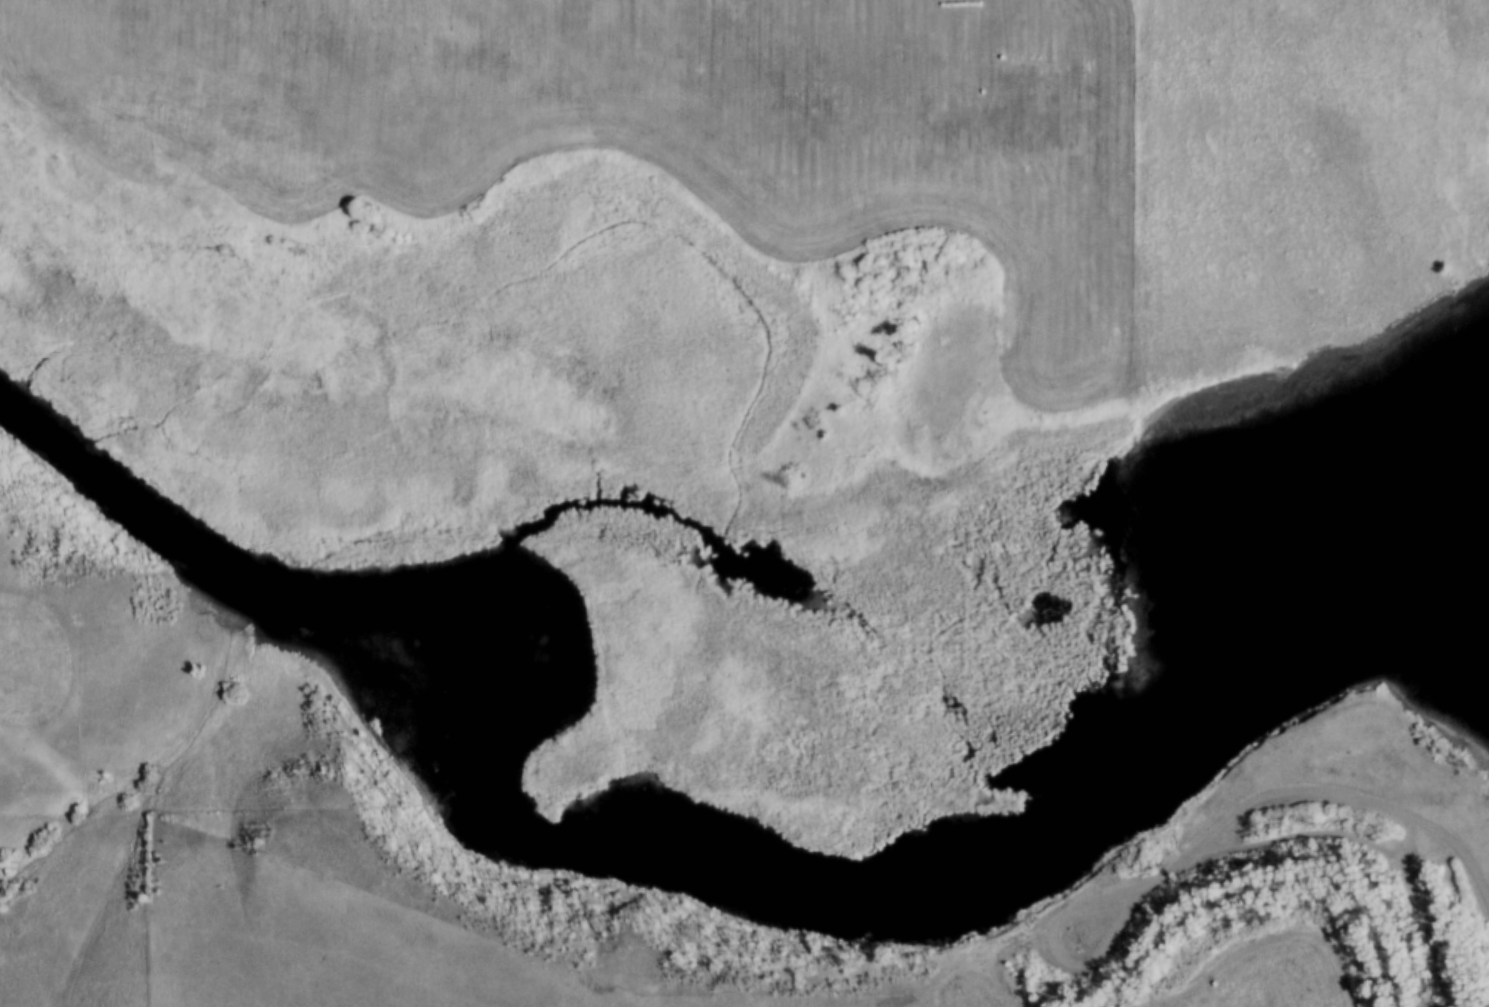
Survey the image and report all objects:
road: (1330, 796)
road: (1310, 836)
road: (1417, 913)
road: (1047, 949)

